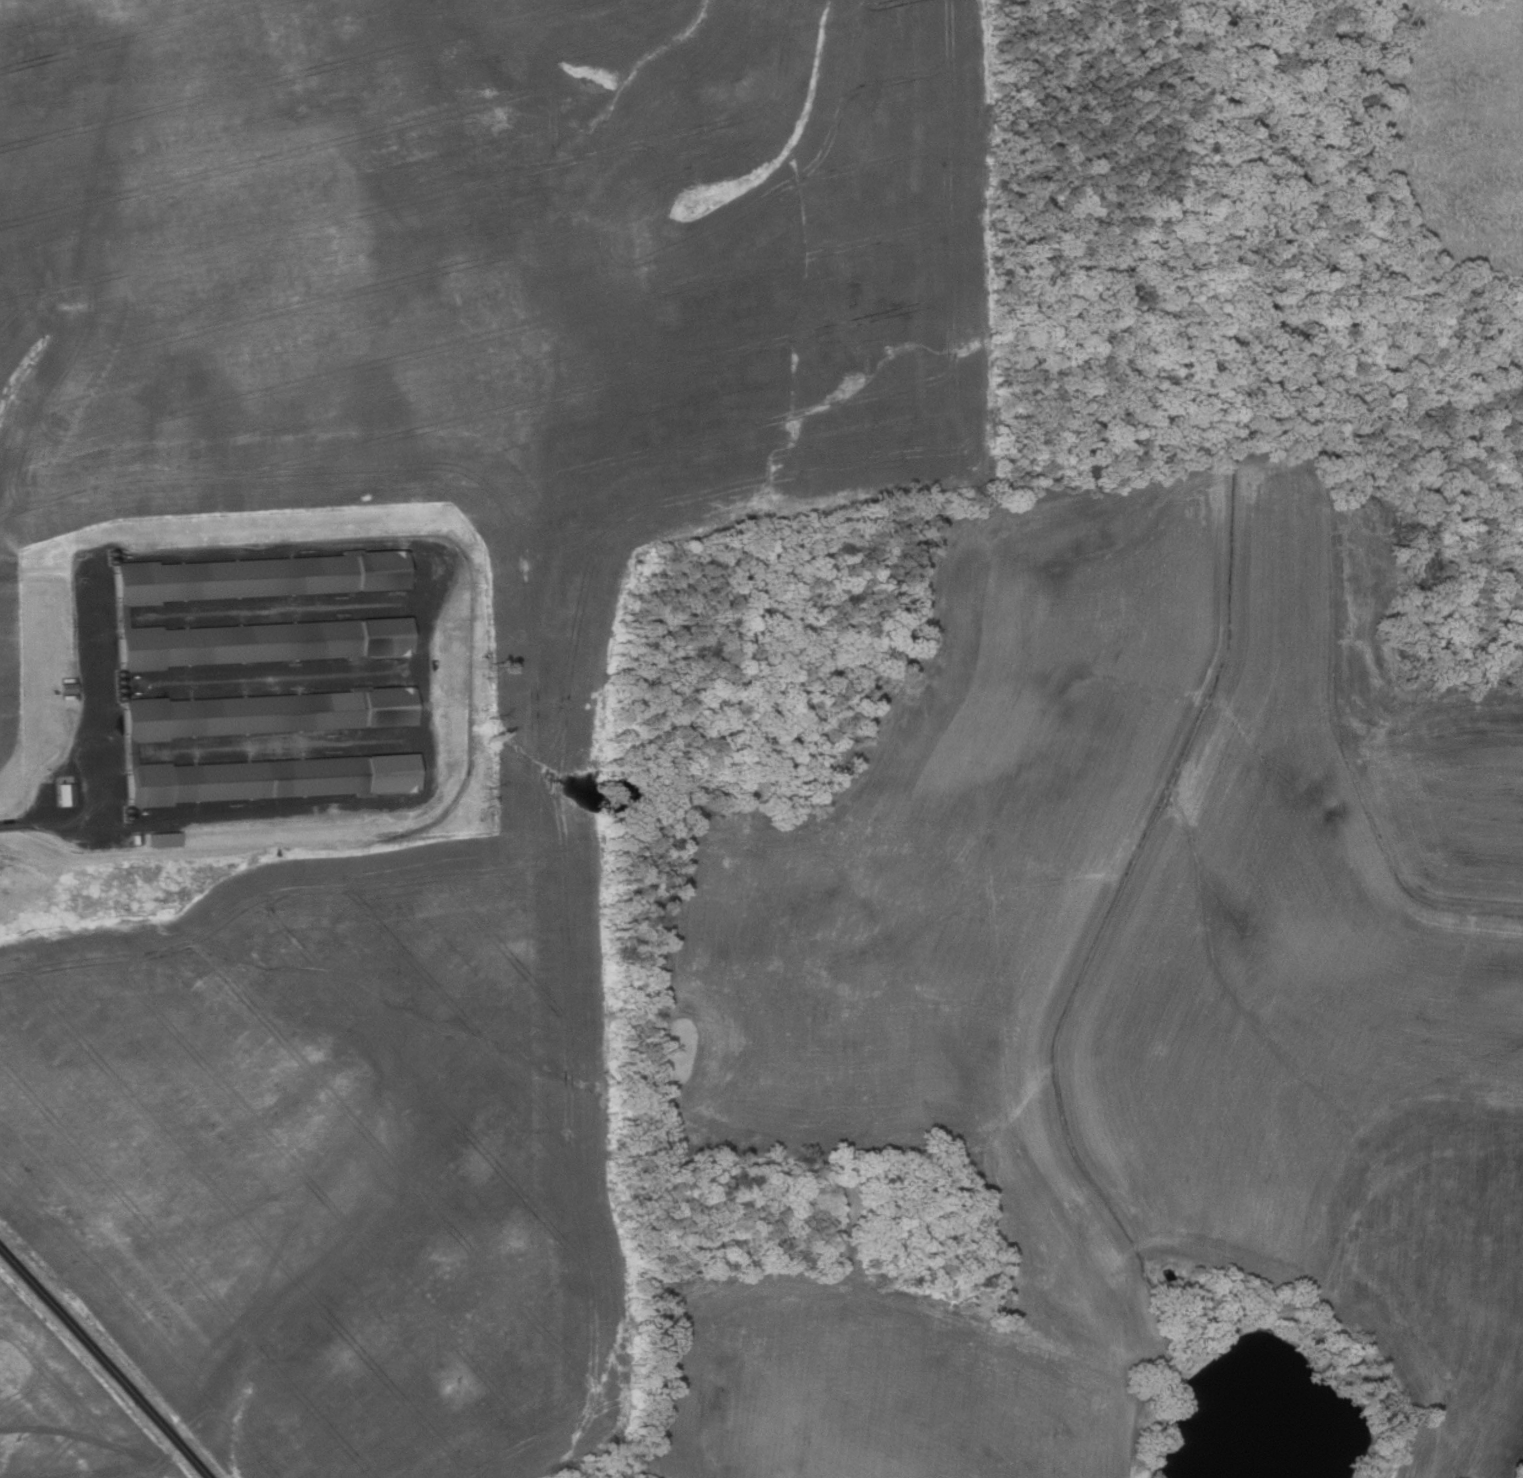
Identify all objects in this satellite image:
building: (264, 576)
building: (265, 641)
building: (70, 687)
building: (269, 714)
crop: (550, 735)
building: (274, 778)
building: (66, 794)
road: (50, 824)
building: (136, 839)
building: (165, 839)
road: (106, 1361)
crop: (64, 1406)

